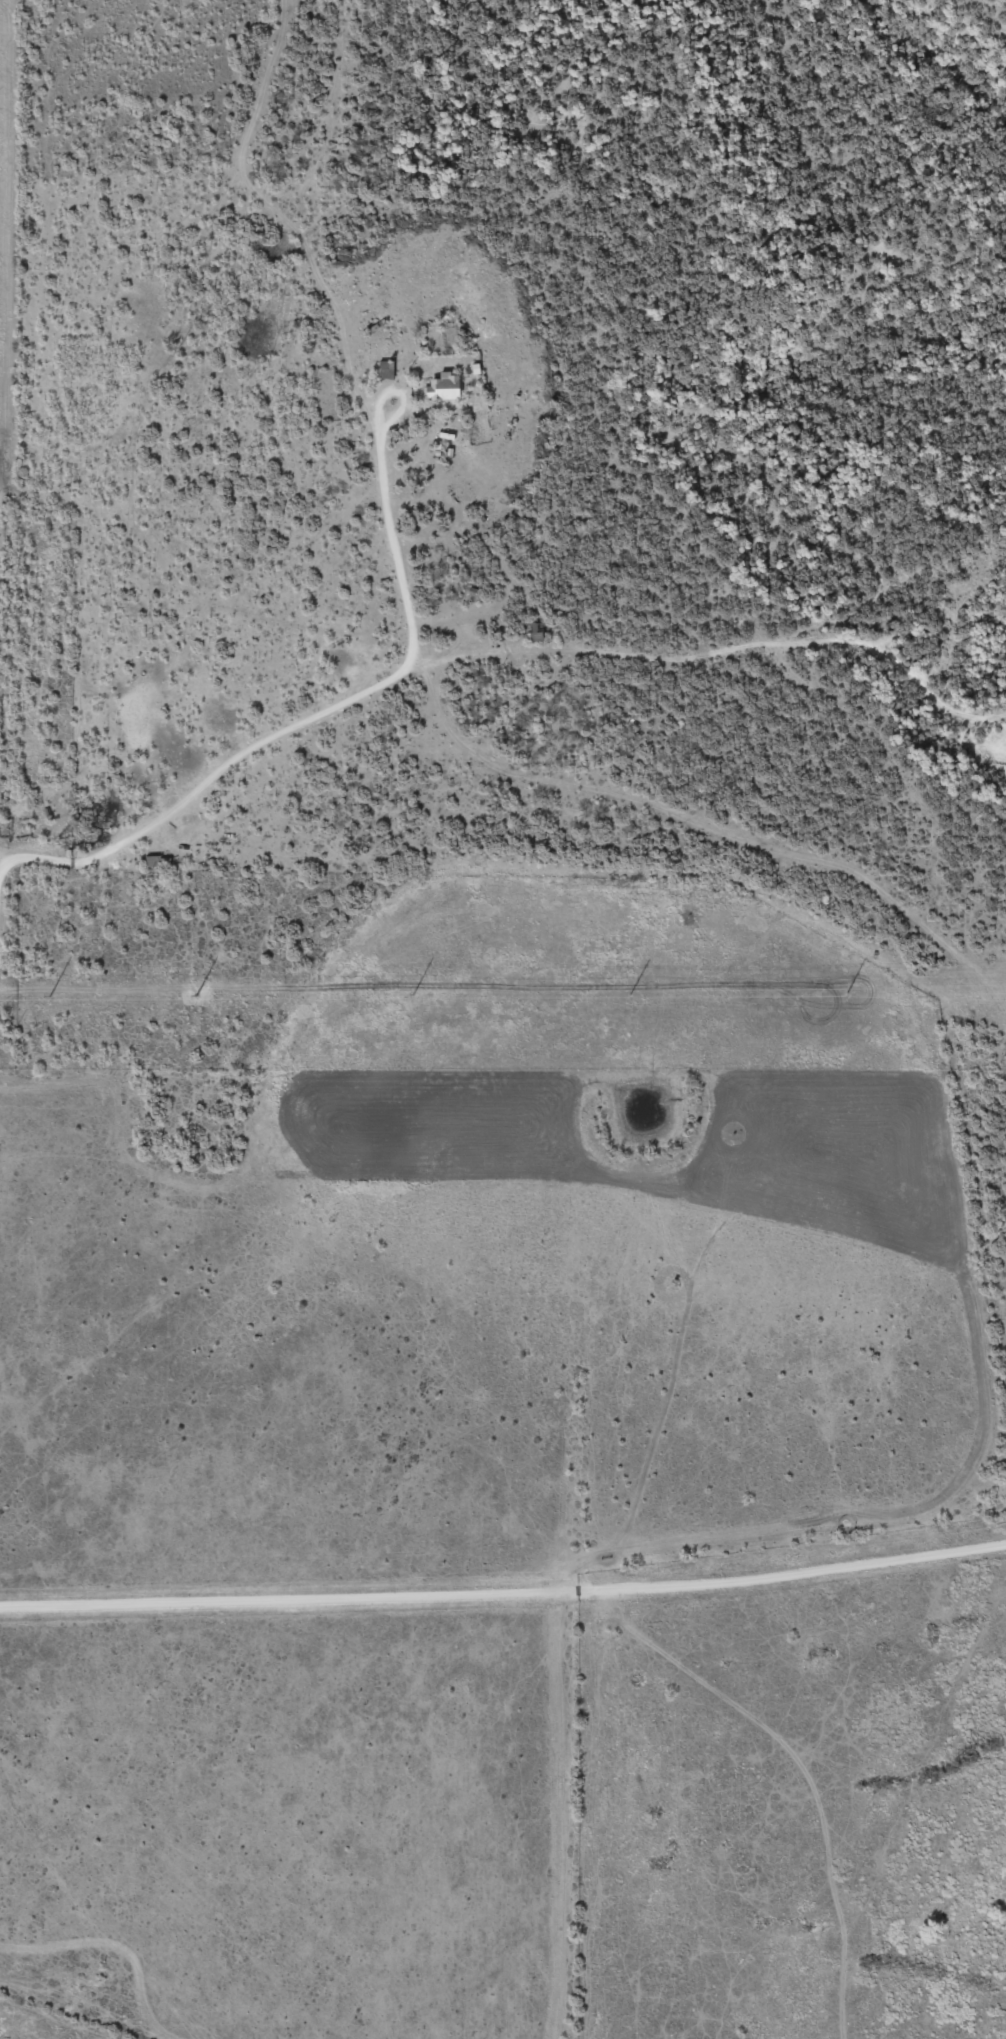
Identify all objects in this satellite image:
building: (389, 369)
building: (445, 387)
road: (387, 507)
building: (537, 634)
road: (3, 647)
road: (486, 661)
building: (156, 861)
power tower: (631, 992)
power tower: (846, 992)
power tower: (48, 994)
power tower: (413, 994)
power tower: (195, 995)

